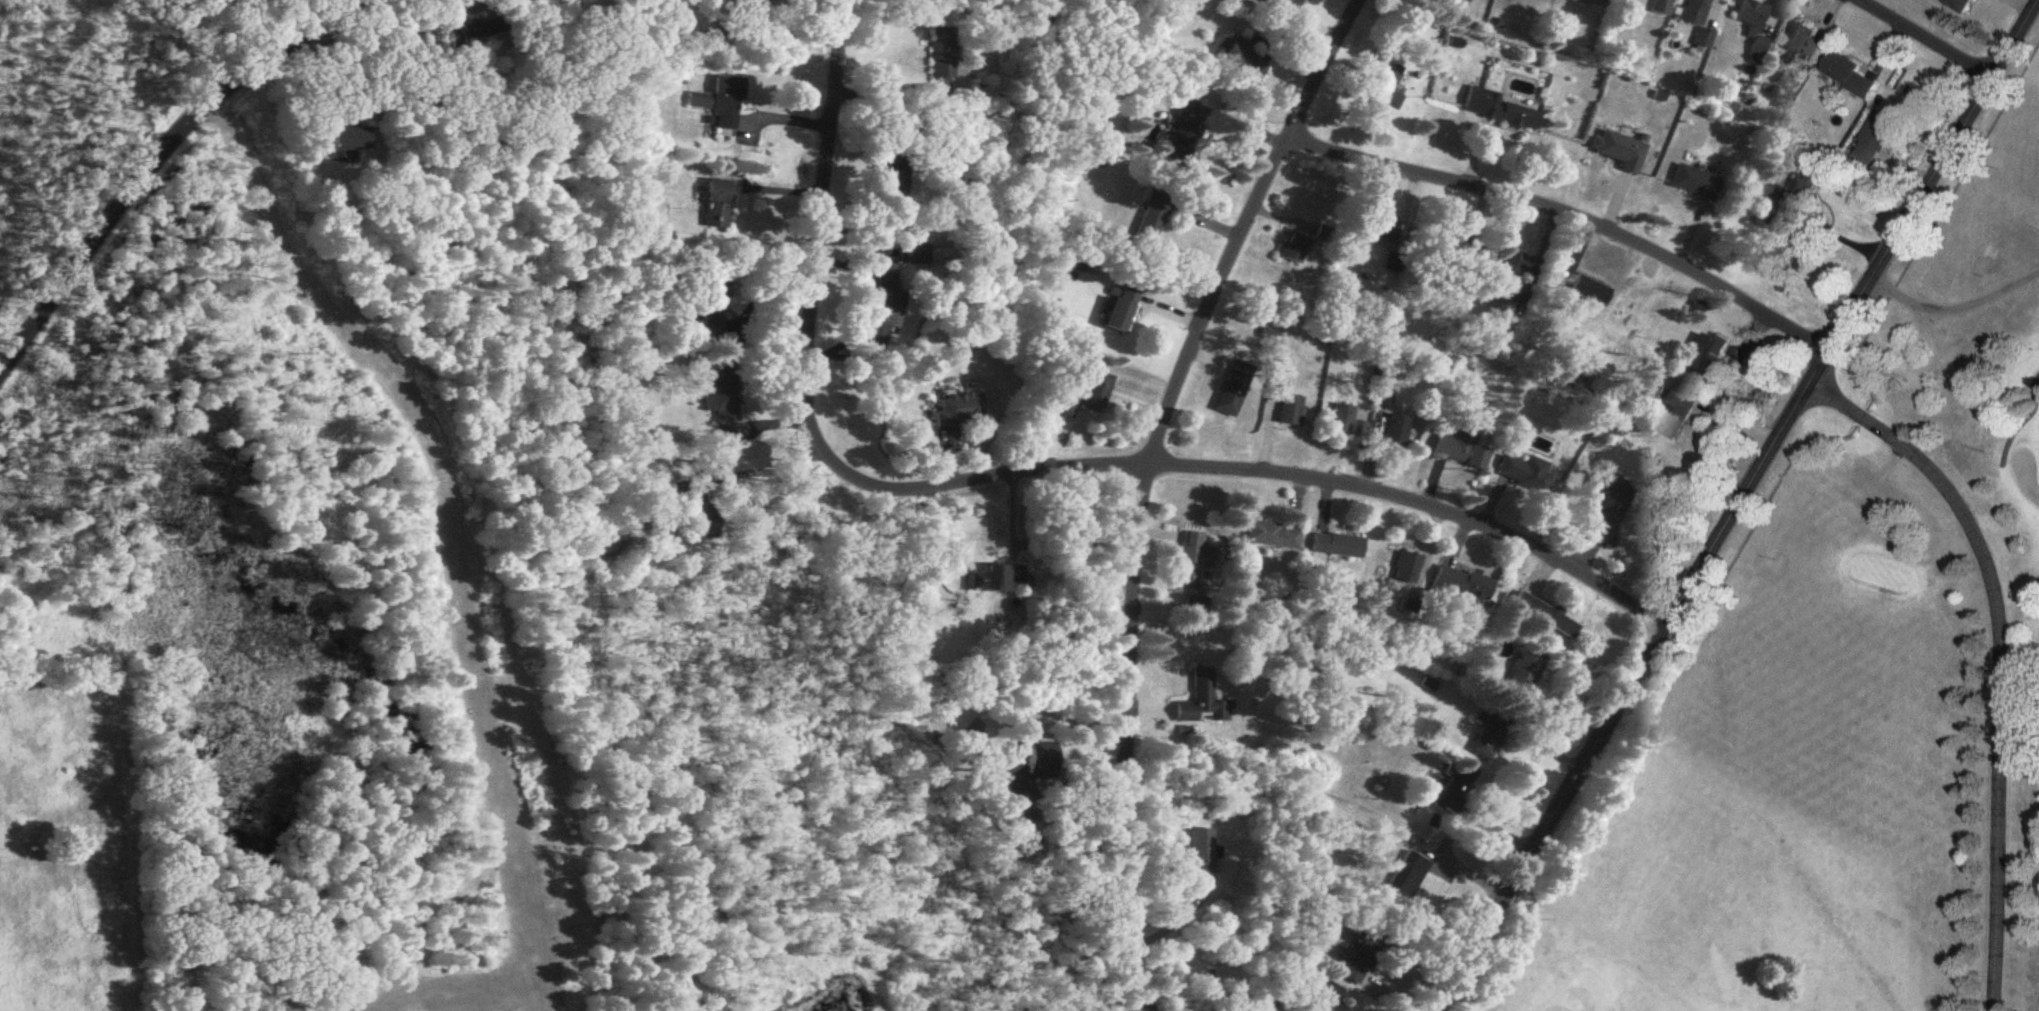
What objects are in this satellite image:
building: (747, 1)
building: (1463, 2)
building: (1581, 2)
building: (1287, 5)
building: (1961, 6)
building: (1661, 7)
building: (1698, 21)
building: (1756, 26)
building: (470, 34)
road: (1924, 39)
building: (1801, 46)
building: (944, 54)
building: (1243, 58)
building: (1848, 76)
building: (1380, 91)
building: (716, 108)
road: (781, 110)
building: (1510, 117)
building: (1192, 137)
building: (1877, 139)
building: (349, 141)
building: (1620, 152)
road: (155, 159)
building: (893, 181)
building: (1694, 184)
building: (1810, 189)
building: (716, 207)
road: (1570, 219)
building: (1150, 222)
building: (1382, 236)
building: (1452, 246)
building: (1294, 249)
building: (1512, 278)
building: (1120, 310)
building: (711, 311)
building: (883, 316)
building: (1703, 358)
building: (1234, 390)
building: (1097, 393)
building: (721, 394)
building: (1383, 402)
building: (1067, 409)
building: (1679, 409)
building: (960, 412)
building: (1291, 412)
building: (1345, 423)
building: (1396, 431)
building: (1461, 451)
road: (762, 463)
road: (1025, 471)
building: (1526, 475)
road: (1141, 482)
road: (1736, 506)
building: (699, 518)
building: (1273, 537)
building: (1338, 546)
building: (1193, 562)
building: (1407, 570)
building: (995, 581)
building: (1464, 585)
building: (1547, 616)
road: (2001, 657)
building: (1524, 676)
park: (1850, 692)
building: (1198, 698)
building: (1488, 739)
building: (1042, 760)
building: (1454, 785)
road: (1449, 830)
building: (1201, 853)
building: (1406, 878)
building: (1361, 958)
building: (1328, 998)

